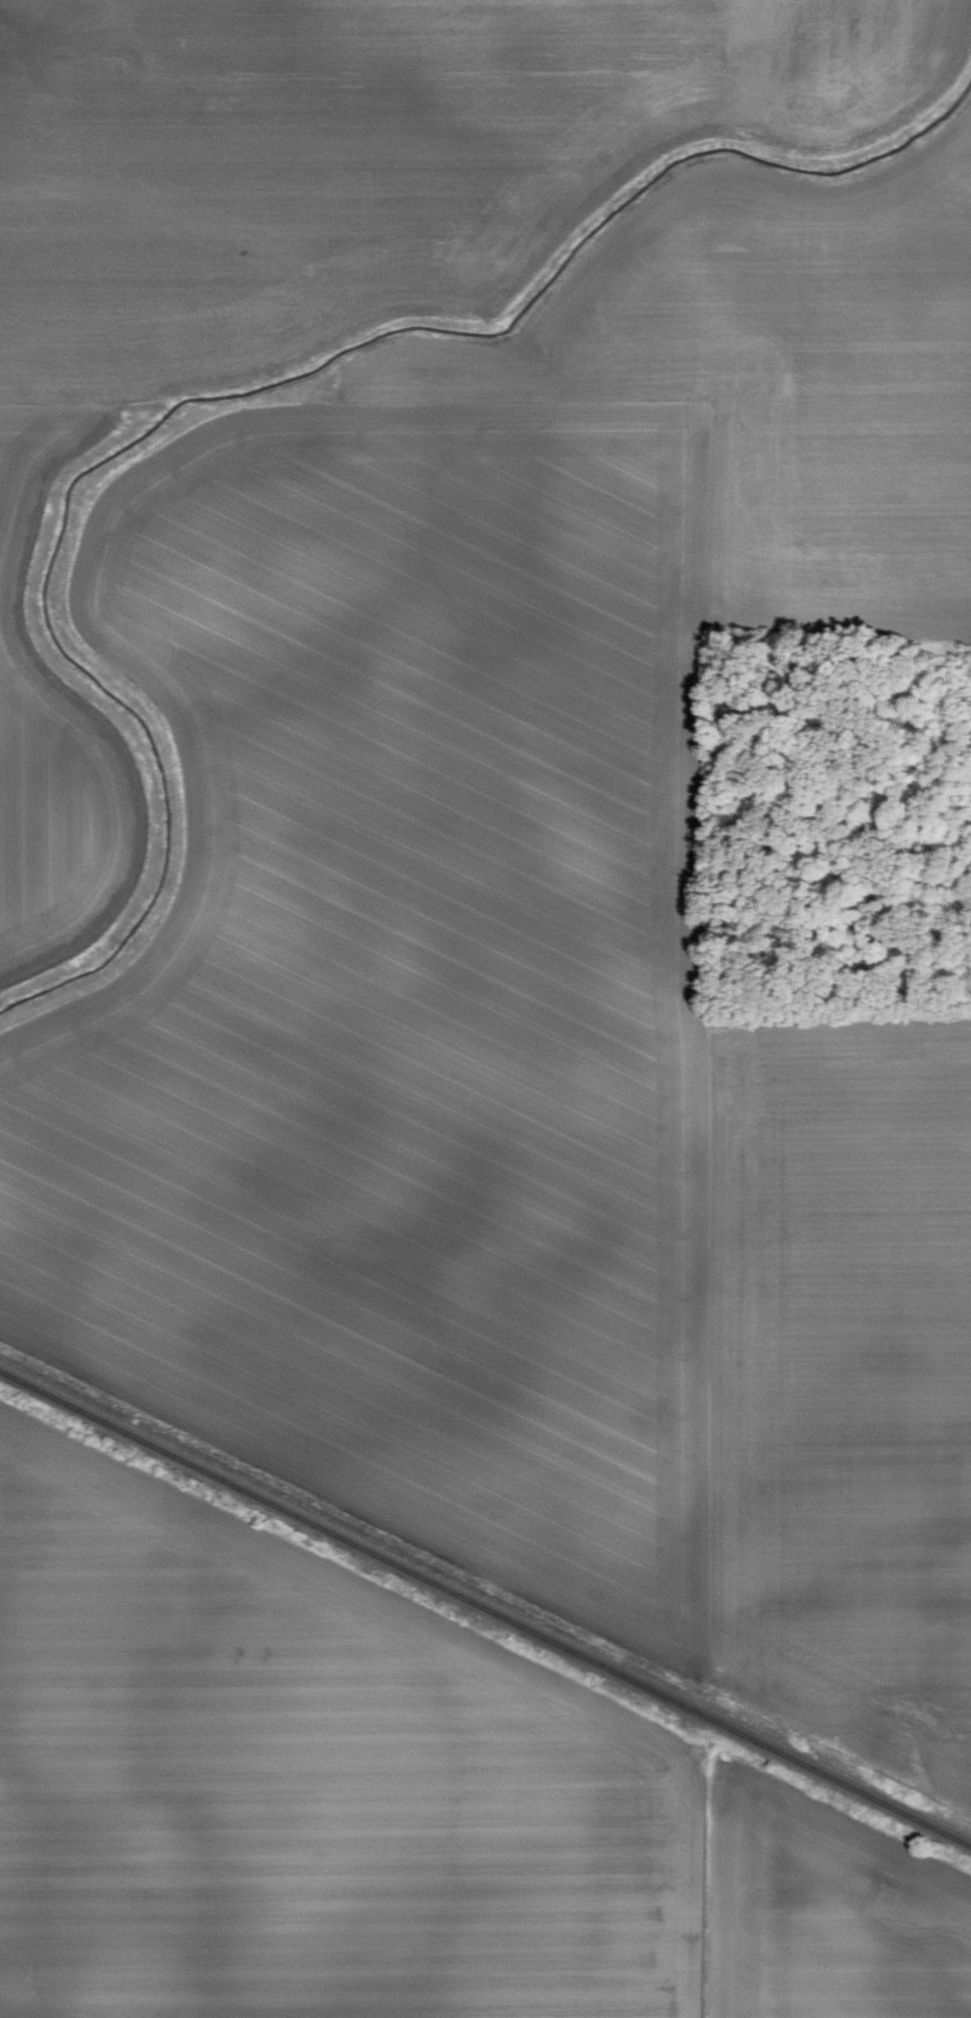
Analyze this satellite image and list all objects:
railway: (485, 1605)

